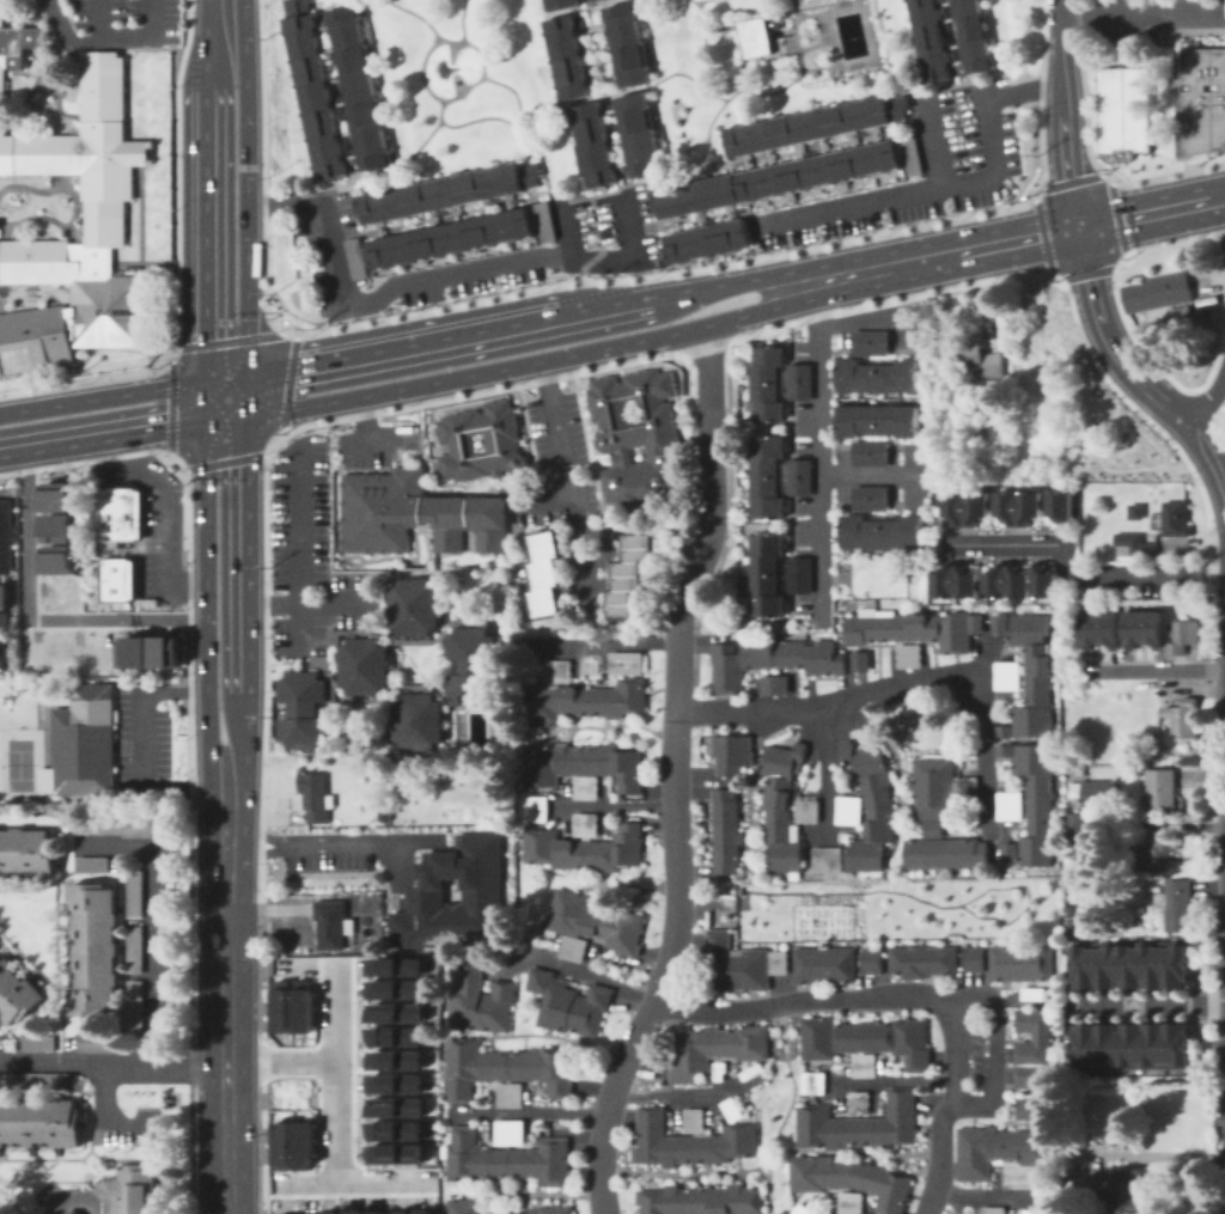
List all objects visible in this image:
building: (592, 0)
building: (557, 2)
building: (294, 6)
road: (209, 13)
parking lot: (128, 14)
road: (1144, 14)
road: (1062, 17)
road: (104, 20)
building: (971, 35)
building: (755, 36)
building: (928, 39)
road: (111, 41)
building: (628, 45)
building: (567, 57)
road: (61, 79)
road: (37, 83)
building: (358, 89)
road: (1038, 90)
road: (1023, 91)
road: (1083, 94)
building: (315, 97)
building: (1197, 102)
road: (56, 111)
building: (1120, 112)
building: (816, 126)
road: (1065, 133)
building: (640, 135)
road: (932, 141)
building: (592, 144)
building: (908, 154)
road: (263, 167)
road: (243, 169)
building: (67, 170)
road: (176, 173)
road: (1160, 175)
building: (779, 179)
road: (1067, 179)
road: (922, 191)
building: (449, 193)
road: (208, 203)
road: (1121, 215)
road: (623, 219)
building: (542, 220)
traffic signals: (1077, 230)
road: (141, 231)
road: (566, 231)
road: (1043, 232)
road: (1224, 232)
building: (449, 239)
road: (1014, 240)
building: (707, 242)
road: (1169, 244)
building: (354, 257)
road: (604, 258)
road: (128, 263)
road: (664, 270)
road: (1087, 273)
road: (754, 277)
building: (1158, 293)
road: (377, 295)
road: (669, 295)
road: (897, 301)
building: (1007, 307)
road: (1221, 316)
traffic signals: (245, 318)
building: (1182, 321)
road: (859, 322)
road: (461, 337)
building: (33, 340)
road: (226, 341)
building: (869, 342)
road: (1110, 342)
road: (712, 344)
road: (244, 358)
road: (549, 358)
building: (977, 359)
road: (1152, 362)
road: (266, 373)
building: (879, 377)
road: (225, 378)
road: (89, 379)
building: (798, 380)
road: (287, 382)
building: (769, 384)
traffic signals: (160, 388)
road: (468, 394)
road: (104, 396)
road: (207, 398)
road: (169, 402)
road: (1207, 407)
traffic signals: (276, 410)
road: (262, 411)
road: (224, 415)
building: (879, 421)
road: (103, 429)
road: (364, 431)
road: (1160, 431)
building: (638, 437)
road: (390, 439)
building: (500, 439)
road: (560, 446)
road: (816, 449)
building: (869, 452)
road: (1211, 455)
road: (93, 457)
road: (224, 462)
road: (871, 472)
road: (711, 476)
building: (799, 476)
building: (769, 478)
road: (1224, 482)
traffic signals: (205, 484)
road: (1, 490)
road: (170, 494)
road: (544, 496)
building: (869, 496)
building: (1008, 507)
building: (1133, 510)
building: (55, 511)
building: (413, 513)
building: (118, 514)
building: (1176, 520)
road: (620, 529)
building: (884, 532)
building: (6, 537)
road: (608, 541)
building: (1136, 544)
road: (297, 547)
road: (577, 548)
road: (238, 559)
building: (57, 561)
building: (548, 573)
building: (798, 573)
building: (769, 574)
road: (1074, 574)
building: (634, 577)
building: (120, 579)
building: (995, 581)
road: (587, 585)
building: (413, 605)
road: (307, 606)
road: (205, 614)
road: (28, 617)
building: (2, 624)
building: (767, 624)
building: (1002, 624)
building: (1142, 629)
building: (913, 630)
building: (1099, 630)
road: (188, 636)
building: (1183, 637)
road: (611, 642)
building: (133, 651)
building: (165, 651)
building: (909, 657)
road: (982, 659)
building: (769, 660)
building: (858, 660)
building: (362, 664)
building: (473, 664)
building: (627, 664)
road: (675, 666)
road: (1145, 669)
road: (263, 676)
building: (1008, 676)
building: (1032, 679)
building: (772, 684)
road: (897, 688)
building: (581, 697)
building: (304, 707)
road: (141, 712)
building: (1184, 719)
building: (418, 720)
building: (83, 745)
building: (732, 755)
park: (19, 762)
park: (18, 763)
building: (585, 768)
road: (824, 768)
road: (231, 775)
building: (940, 788)
building: (1162, 791)
building: (1096, 793)
building: (317, 798)
building: (1035, 800)
road: (615, 804)
building: (872, 806)
building: (1011, 806)
building: (786, 807)
building: (537, 809)
building: (848, 811)
road: (1160, 822)
building: (1078, 824)
building: (587, 825)
building: (100, 826)
building: (145, 828)
building: (727, 832)
road: (305, 844)
building: (586, 849)
building: (945, 852)
building: (28, 853)
building: (1011, 854)
building: (1156, 854)
building: (829, 862)
building: (95, 865)
building: (136, 895)
building: (451, 896)
building: (1178, 905)
road: (153, 919)
building: (334, 923)
building: (593, 926)
building: (96, 950)
building: (136, 950)
parking lot: (154, 950)
building: (974, 959)
building: (872, 960)
building: (924, 962)
building: (1022, 963)
building: (1080, 963)
building: (741, 964)
building: (1102, 964)
building: (1128, 964)
road: (306, 965)
building: (1153, 965)
building: (1176, 965)
building: (394, 966)
building: (825, 966)
road: (664, 969)
road: (577, 970)
building: (392, 988)
road: (907, 993)
building: (17, 994)
building: (1034, 994)
building: (479, 1001)
road: (1147, 1002)
building: (569, 1003)
building: (280, 1006)
building: (301, 1006)
building: (136, 1008)
road: (225, 1011)
building: (395, 1012)
building: (0, 1029)
building: (394, 1036)
building: (1031, 1036)
building: (866, 1039)
road: (992, 1042)
building: (100, 1043)
building: (36, 1044)
building: (1080, 1045)
building: (1103, 1045)
building: (1129, 1045)
building: (1154, 1045)
building: (1176, 1045)
building: (717, 1049)
parking lot: (976, 1054)
building: (394, 1060)
road: (112, 1061)
road: (281, 1061)
building: (865, 1066)
building: (507, 1068)
building: (720, 1072)
road: (337, 1075)
building: (754, 1075)
road: (894, 1080)
building: (39, 1082)
building: (392, 1082)
building: (813, 1082)
building: (1031, 1091)
road: (675, 1092)
building: (511, 1096)
building: (860, 1103)
building: (394, 1106)
building: (733, 1111)
road: (528, 1112)
building: (694, 1120)
building: (42, 1122)
building: (860, 1125)
building: (394, 1129)
road: (129, 1133)
building: (511, 1133)
building: (690, 1142)
building: (280, 1143)
building: (303, 1143)
building: (392, 1153)
building: (1005, 1155)
building: (507, 1160)
building: (852, 1179)
road: (355, 1184)
building: (140, 1191)
building: (1113, 1192)
road: (988, 1196)
road: (85, 1197)
building: (702, 1201)
building: (851, 1203)
building: (464, 1206)
building: (554, 1209)
building: (802, 1210)
building: (994, 1210)
building: (328, 1212)
building: (353, 1212)
building: (376, 1212)
building: (400, 1212)
building: (422, 1212)
building: (1036, 1212)
building: (0, 1213)
building: (285, 1213)
building: (309, 1213)

